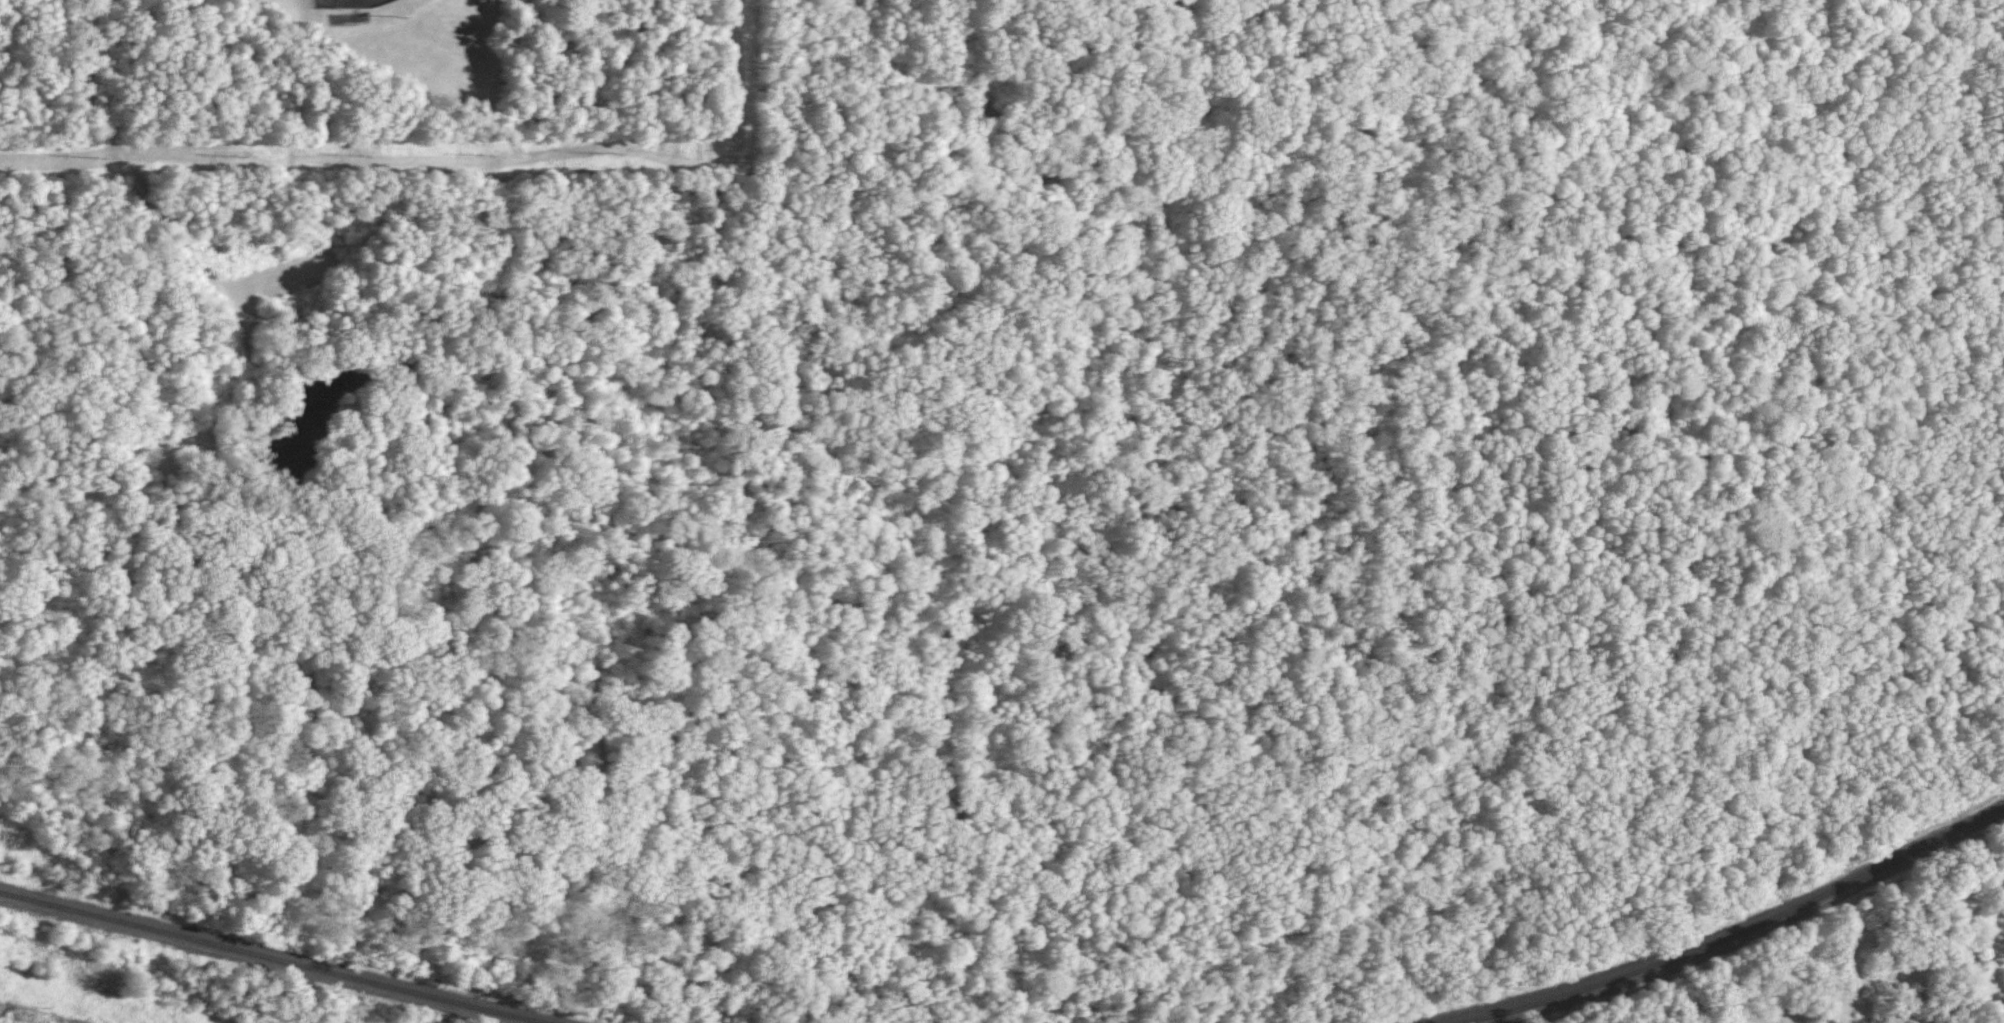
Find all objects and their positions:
park: (352, 4)
road: (320, 161)
road: (64, 168)
road: (75, 276)
road: (177, 318)
park: (433, 487)
road: (116, 492)
road: (510, 573)
road: (581, 851)
railway: (1734, 931)
railway: (268, 957)

